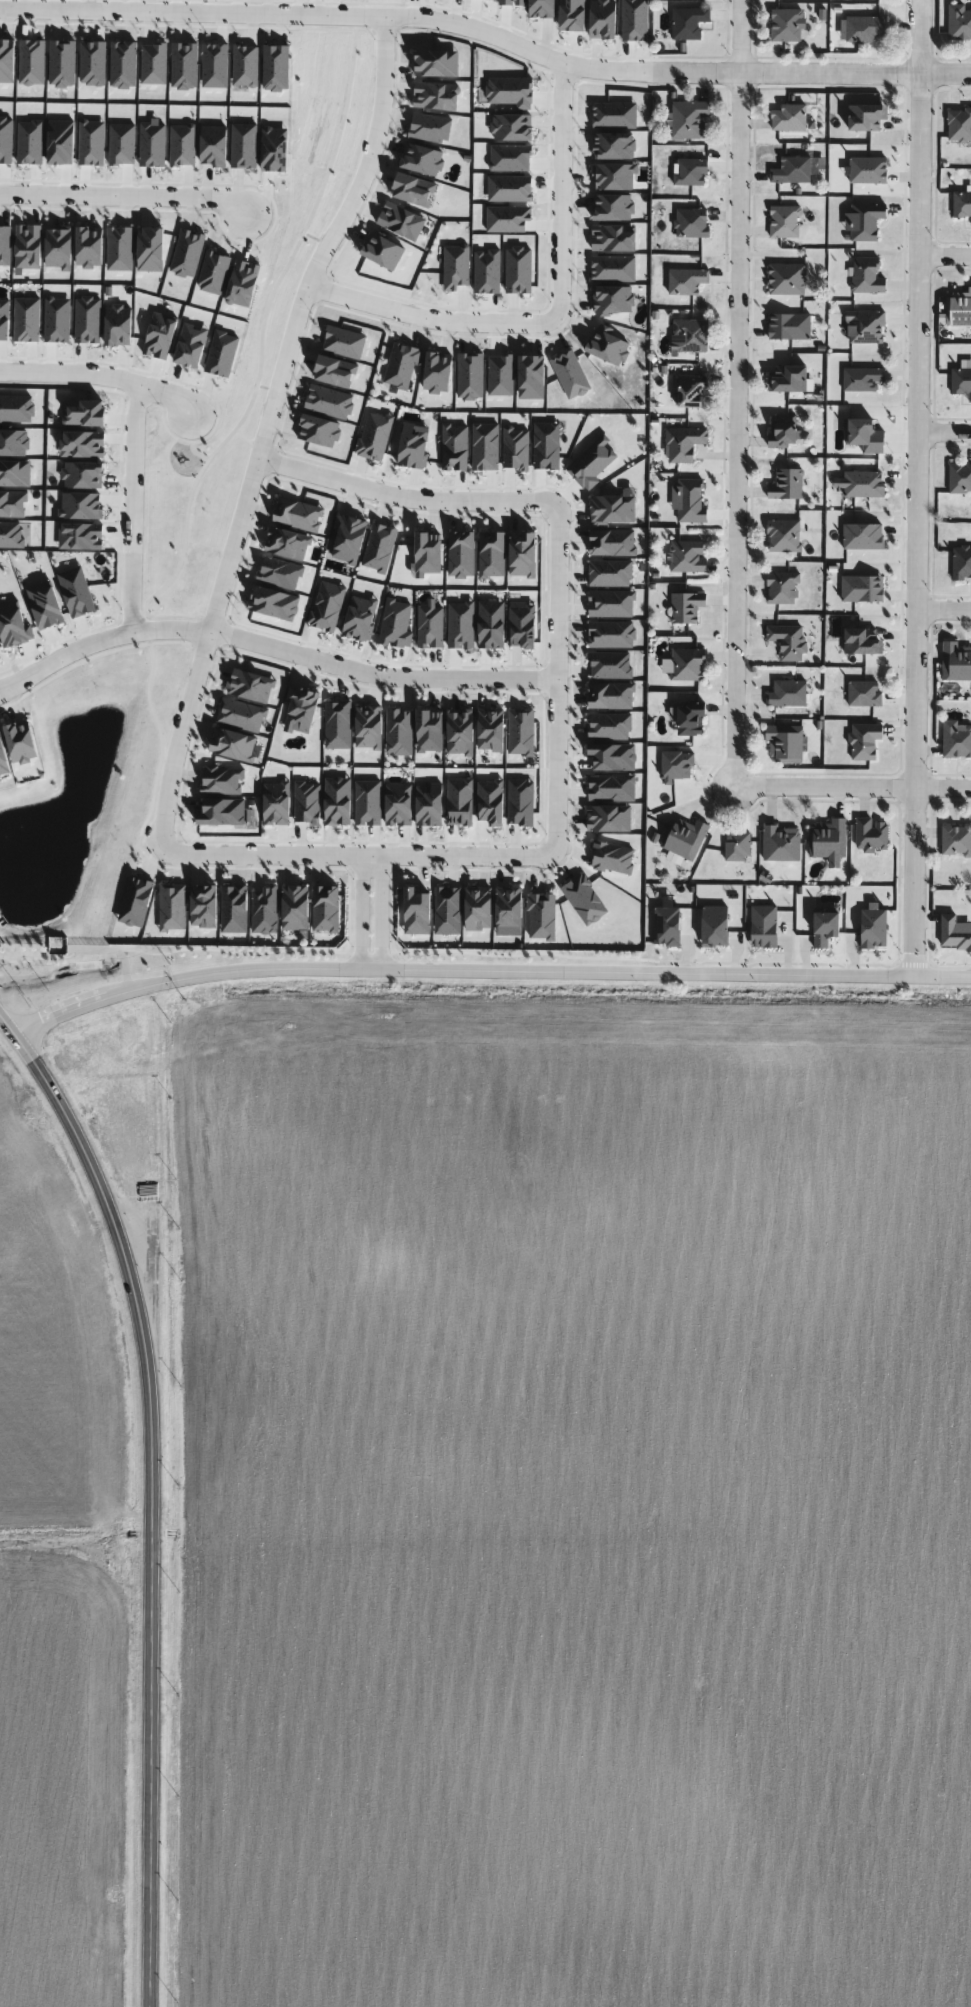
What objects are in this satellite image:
road: (426, 20)
building: (958, 22)
building: (685, 23)
building: (783, 25)
building: (863, 30)
road: (906, 74)
building: (786, 118)
building: (687, 120)
building: (958, 124)
building: (789, 170)
building: (688, 173)
road: (561, 190)
road: (129, 196)
building: (960, 205)
building: (783, 222)
building: (861, 222)
building: (689, 223)
road: (947, 256)
building: (864, 276)
building: (784, 280)
building: (683, 281)
building: (958, 309)
road: (430, 319)
building: (862, 327)
building: (687, 336)
road: (103, 379)
building: (960, 383)
building: (689, 390)
road: (731, 395)
road: (268, 422)
building: (779, 431)
road: (942, 434)
building: (681, 443)
building: (959, 478)
building: (784, 484)
road: (914, 488)
road: (402, 498)
building: (686, 499)
road: (133, 509)
building: (781, 536)
building: (684, 556)
building: (960, 563)
building: (780, 588)
building: (683, 607)
road: (942, 610)
building: (784, 641)
road: (272, 647)
building: (954, 662)
road: (556, 664)
building: (685, 664)
building: (784, 693)
building: (861, 693)
building: (687, 719)
building: (861, 740)
building: (956, 742)
building: (782, 743)
road: (823, 791)
road: (942, 791)
building: (869, 835)
building: (681, 838)
building: (825, 839)
building: (955, 840)
building: (778, 843)
building: (735, 847)
road: (358, 857)
road: (371, 913)
road: (487, 970)
road: (150, 1495)

